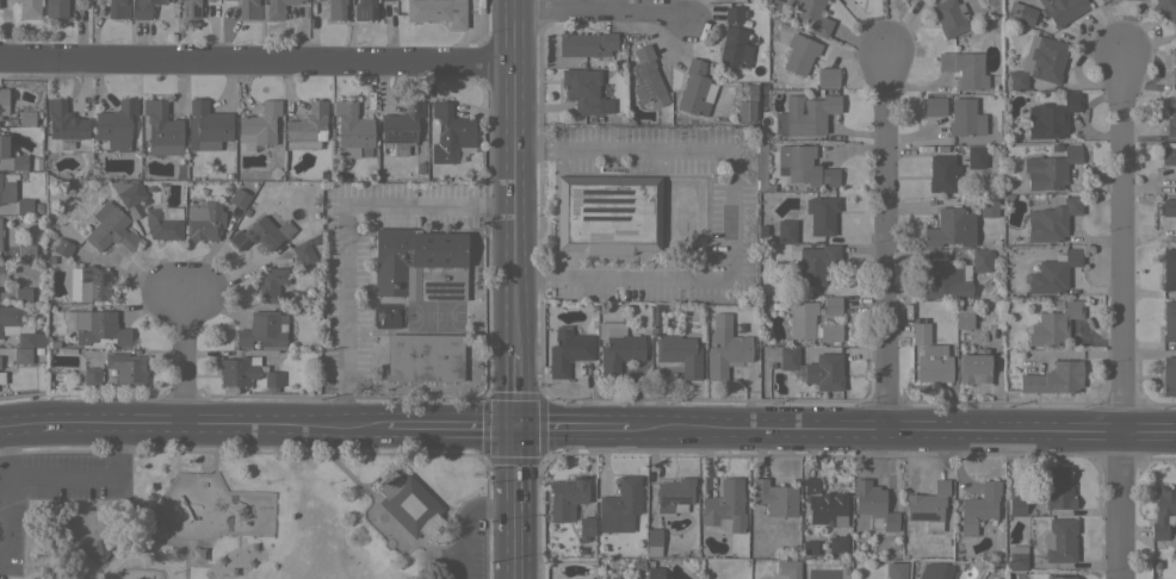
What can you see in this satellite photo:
building: (1097, 1)
building: (29, 7)
building: (55, 7)
building: (144, 7)
building: (116, 8)
building: (188, 8)
building: (277, 8)
building: (335, 8)
building: (1165, 8)
building: (248, 10)
building: (365, 10)
building: (1062, 10)
building: (437, 11)
building: (1021, 12)
road: (600, 14)
building: (732, 14)
building: (810, 15)
building: (949, 17)
building: (586, 44)
building: (735, 48)
building: (799, 52)
road: (255, 61)
building: (1039, 61)
building: (1174, 63)
building: (964, 69)
building: (646, 76)
building: (828, 76)
building: (695, 88)
building: (582, 89)
building: (4, 101)
building: (934, 105)
rooftop solar panel: (407, 108)
rooftop solar panel: (416, 108)
building: (745, 110)
building: (807, 113)
building: (1170, 114)
building: (963, 117)
building: (1051, 117)
building: (25, 118)
building: (64, 123)
building: (116, 124)
building: (259, 124)
building: (209, 125)
building: (402, 126)
building: (307, 127)
building: (162, 129)
building: (351, 129)
building: (450, 133)
rooftop solar panel: (401, 138)
building: (386, 145)
building: (976, 156)
building: (10, 157)
building: (1169, 158)
building: (36, 163)
building: (804, 166)
building: (419, 167)
building: (1050, 168)
building: (942, 173)
building: (6, 187)
rooftop solar panel: (604, 191)
rooftop solar panel: (582, 192)
building: (130, 193)
building: (239, 198)
rooftop solar panel: (583, 200)
rooftop solar panel: (607, 201)
building: (989, 205)
building: (24, 206)
building: (37, 207)
building: (1169, 208)
rooftop solar panel: (582, 210)
rooftop solar panel: (604, 211)
building: (607, 213)
road: (731, 213)
building: (821, 214)
rooftop solar panel: (584, 218)
building: (1051, 219)
building: (204, 220)
rooftop solar panel: (605, 222)
building: (163, 223)
building: (110, 228)
road: (345, 228)
building: (949, 228)
building: (784, 231)
building: (261, 234)
road: (886, 239)
building: (62, 248)
building: (25, 250)
building: (303, 253)
building: (982, 260)
building: (419, 262)
building: (815, 262)
building: (1168, 268)
building: (1051, 272)
building: (1, 274)
building: (947, 279)
building: (92, 282)
rooftop solar panel: (444, 282)
building: (268, 284)
road: (514, 288)
rooftop solar panel: (437, 289)
building: (21, 294)
rooftop solar panel: (446, 295)
building: (833, 305)
building: (963, 316)
building: (10, 317)
road: (1118, 317)
building: (800, 318)
building: (1169, 320)
building: (1053, 324)
building: (99, 329)
building: (262, 330)
building: (830, 331)
building: (920, 331)
building: (30, 338)
building: (617, 347)
building: (37, 350)
building: (64, 350)
building: (568, 350)
building: (724, 350)
building: (680, 354)
building: (21, 355)
road: (186, 355)
building: (425, 357)
building: (788, 357)
rooftop solar panel: (64, 359)
building: (933, 363)
building: (974, 366)
building: (126, 367)
building: (237, 371)
building: (824, 371)
building: (1168, 374)
building: (92, 375)
building: (78, 376)
building: (1, 378)
building: (1053, 378)
building: (272, 379)
road: (587, 424)
road: (303, 449)
road: (88, 475)
building: (1058, 487)
parking lot: (52, 488)
road: (4, 494)
building: (674, 494)
road: (160, 496)
building: (567, 497)
building: (774, 497)
rooftop solar panel: (681, 499)
road: (141, 503)
building: (824, 503)
building: (873, 504)
building: (1016, 504)
building: (619, 505)
building: (928, 505)
building: (411, 506)
building: (978, 506)
building: (724, 508)
road: (94, 511)
road: (273, 511)
building: (1163, 511)
building: (239, 515)
park: (240, 515)
rooftop solar panel: (926, 518)
building: (586, 528)
building: (652, 536)
road: (149, 538)
road: (237, 540)
building: (1059, 540)
road: (401, 541)
parking lot: (464, 544)
building: (650, 544)
building: (836, 546)
building: (250, 547)
building: (99, 548)
building: (196, 554)
road: (110, 555)
building: (1016, 556)
building: (218, 560)
road: (434, 562)
building: (248, 564)
road: (190, 565)
building: (788, 568)
building: (893, 569)
building: (654, 571)
building: (935, 571)
building: (231, 572)
building: (1059, 577)

